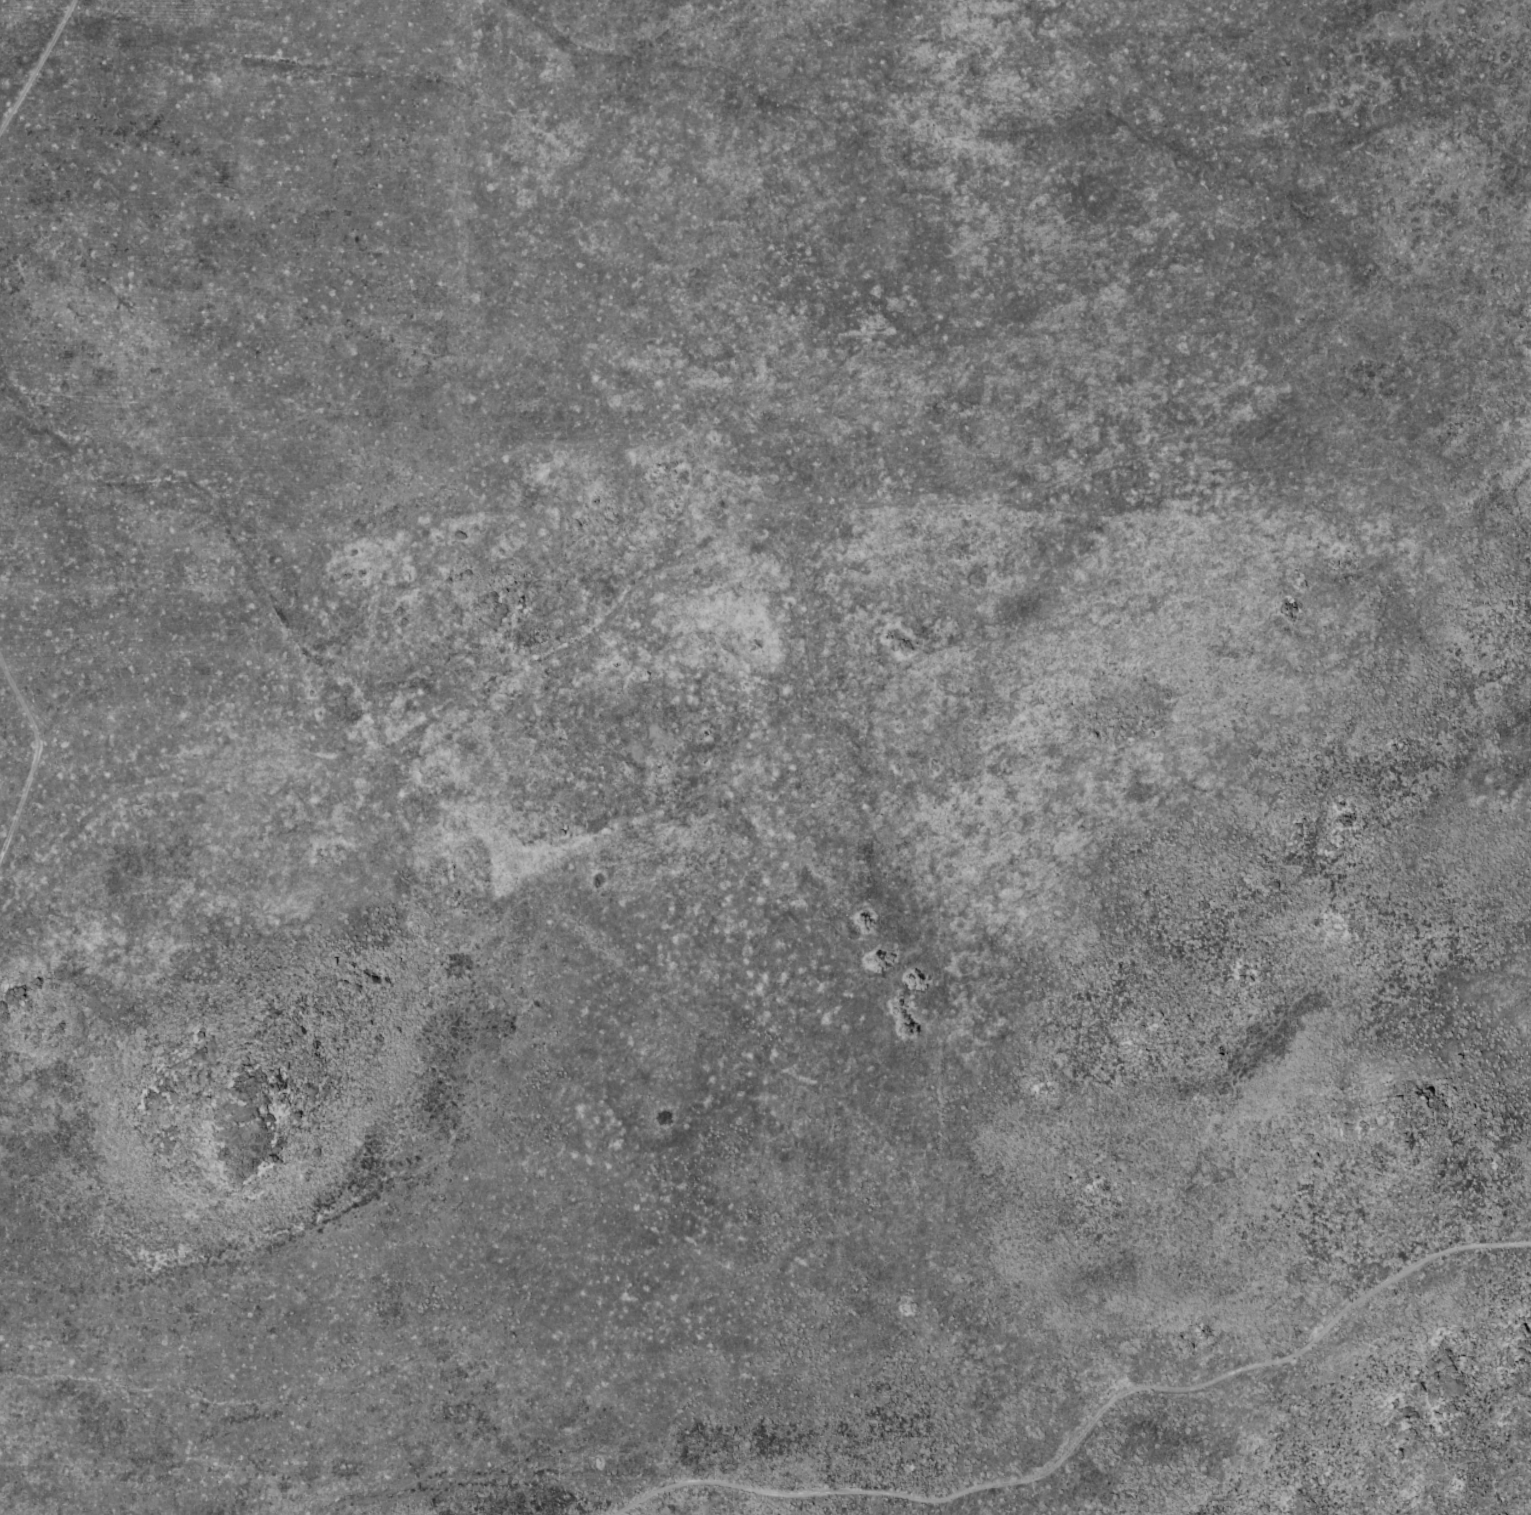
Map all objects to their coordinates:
road: (39, 67)
road: (35, 754)
road: (1084, 1429)

